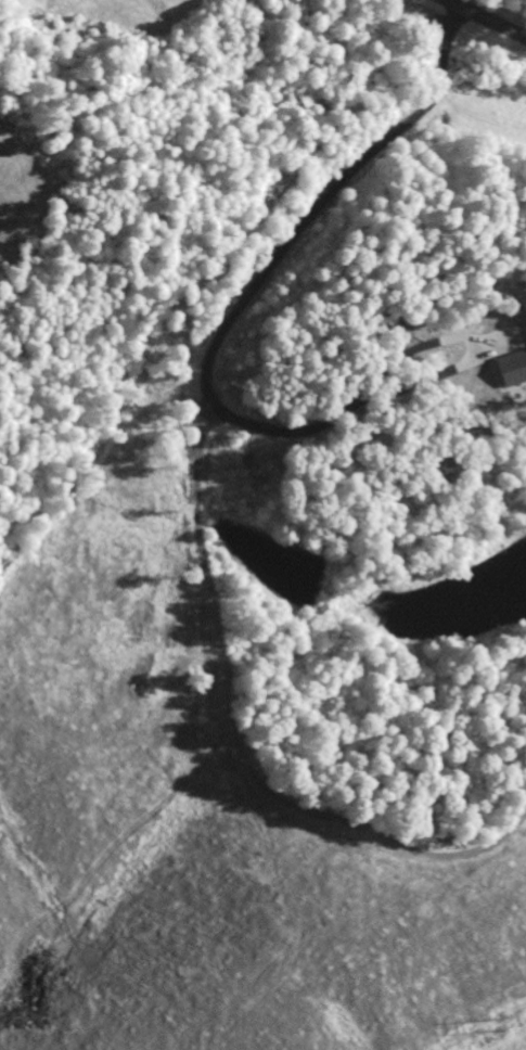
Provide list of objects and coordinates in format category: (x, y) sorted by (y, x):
road: (485, 20)
power tower: (487, 1027)

